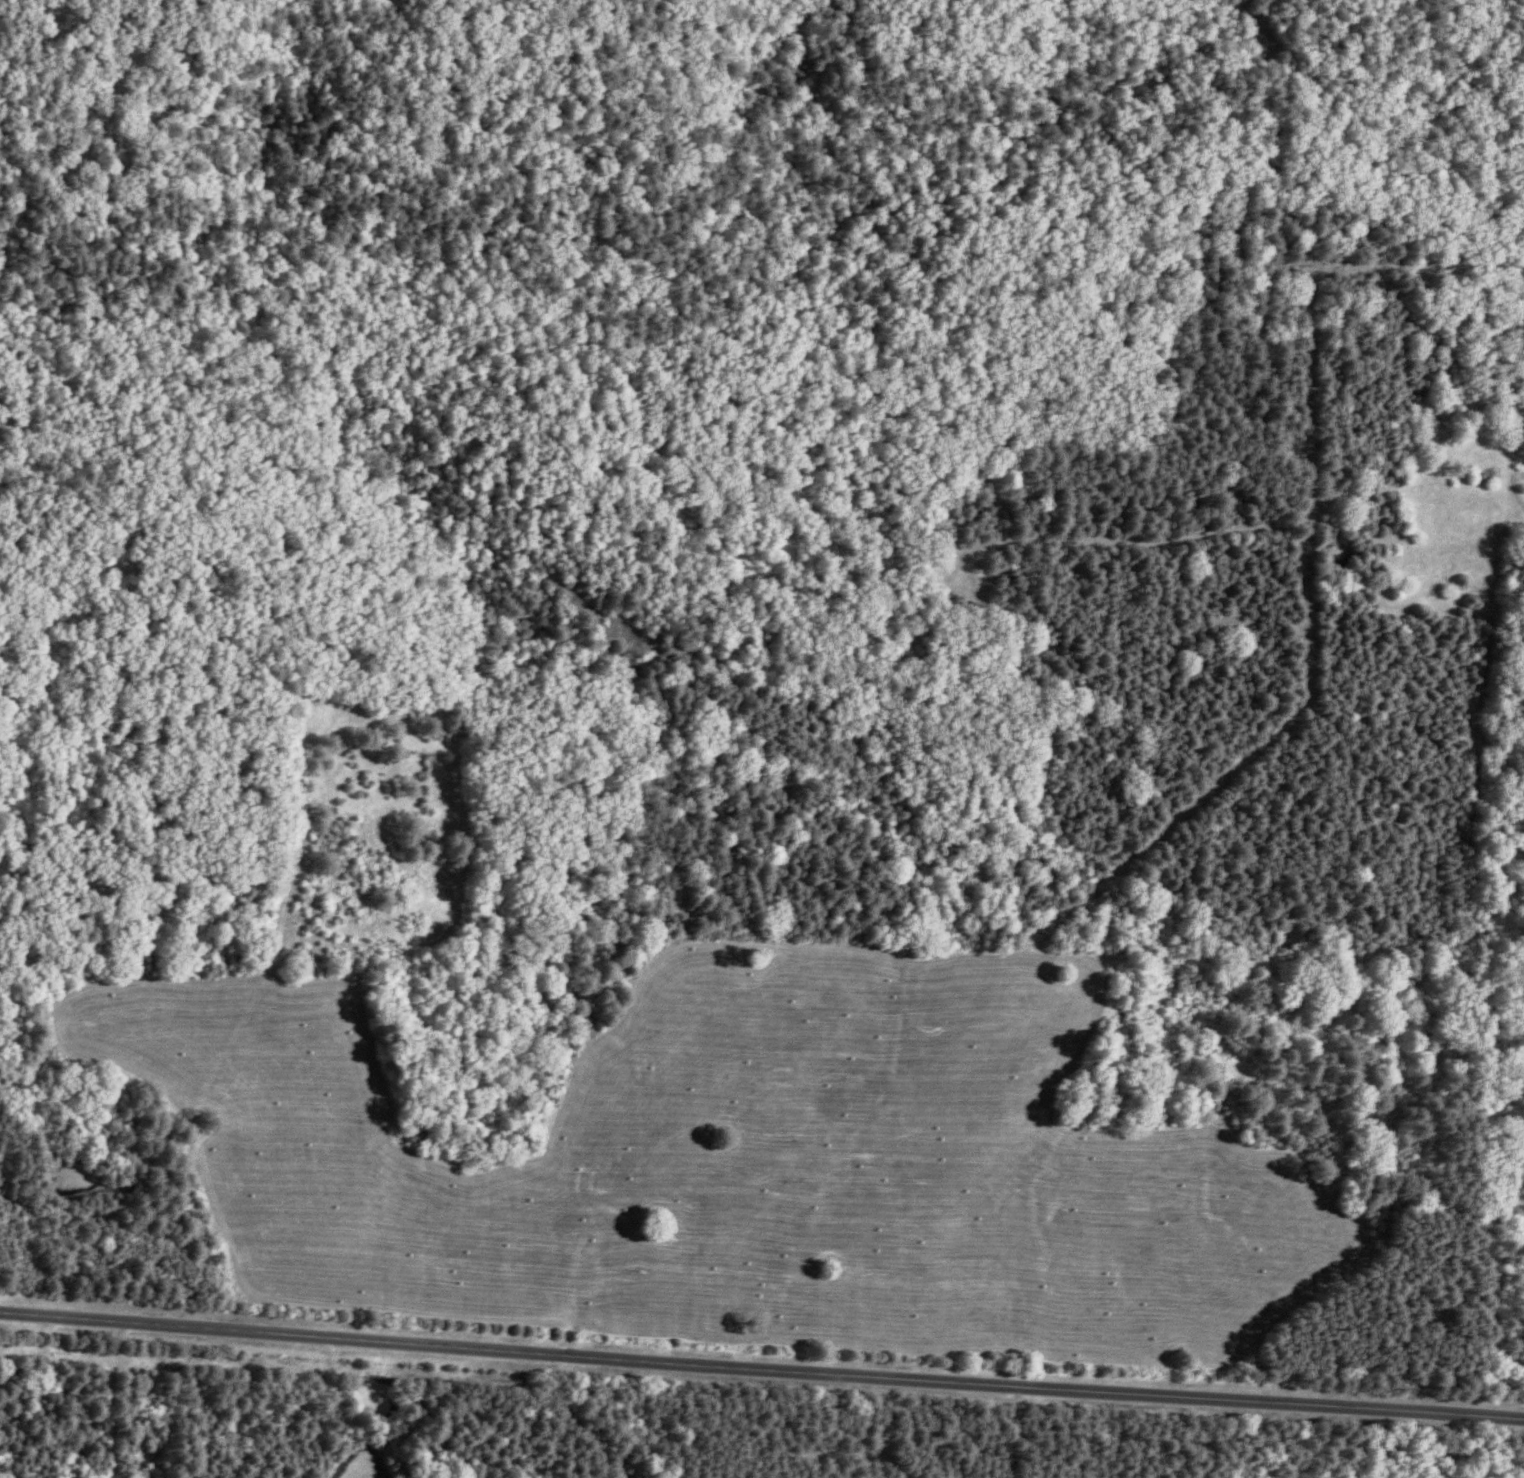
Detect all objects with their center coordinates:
road: (1521, 469)
road: (761, 1372)

